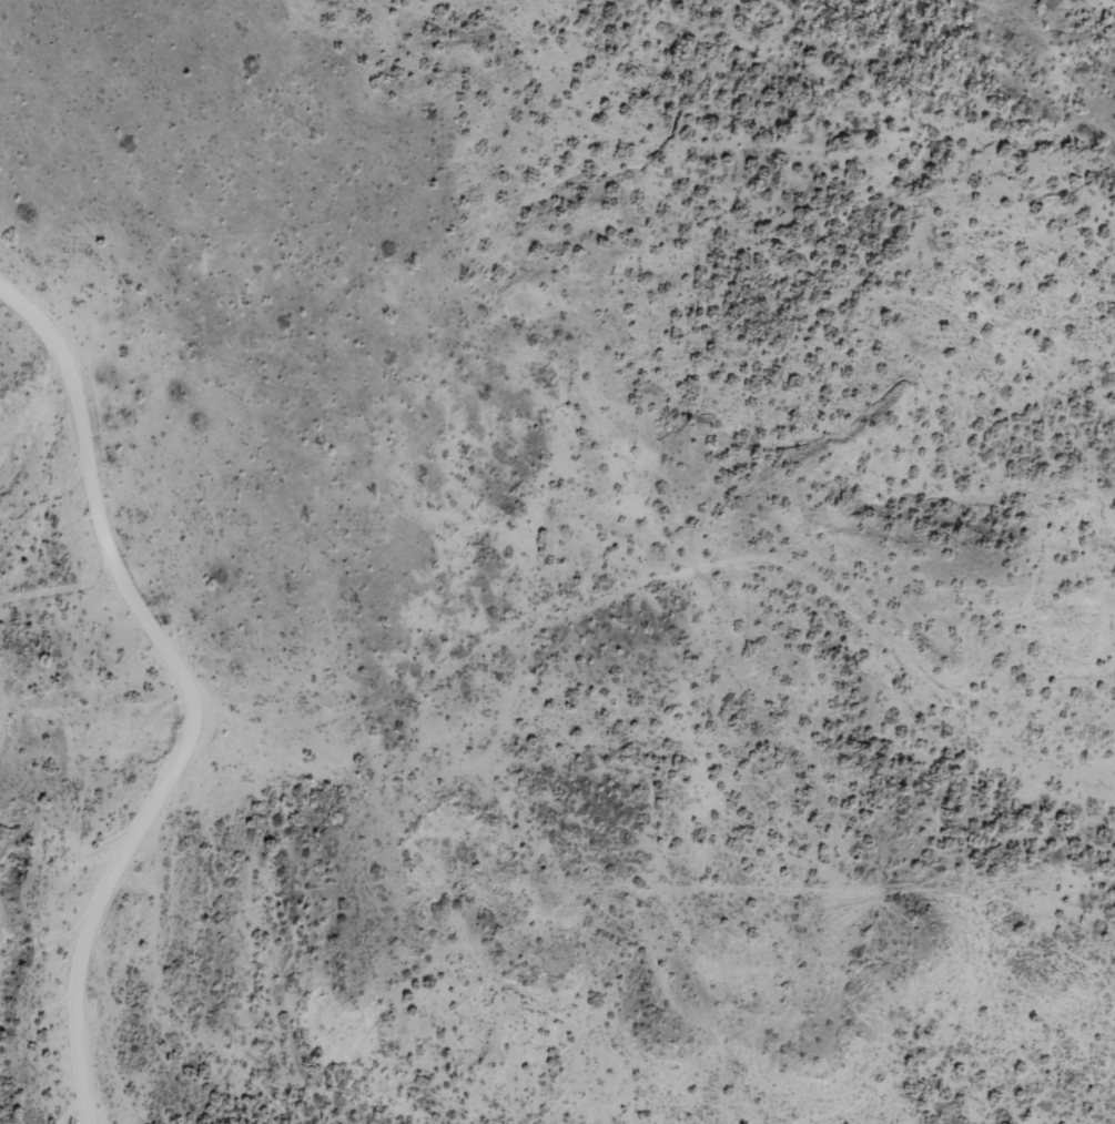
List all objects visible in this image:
road: (183, 713)

